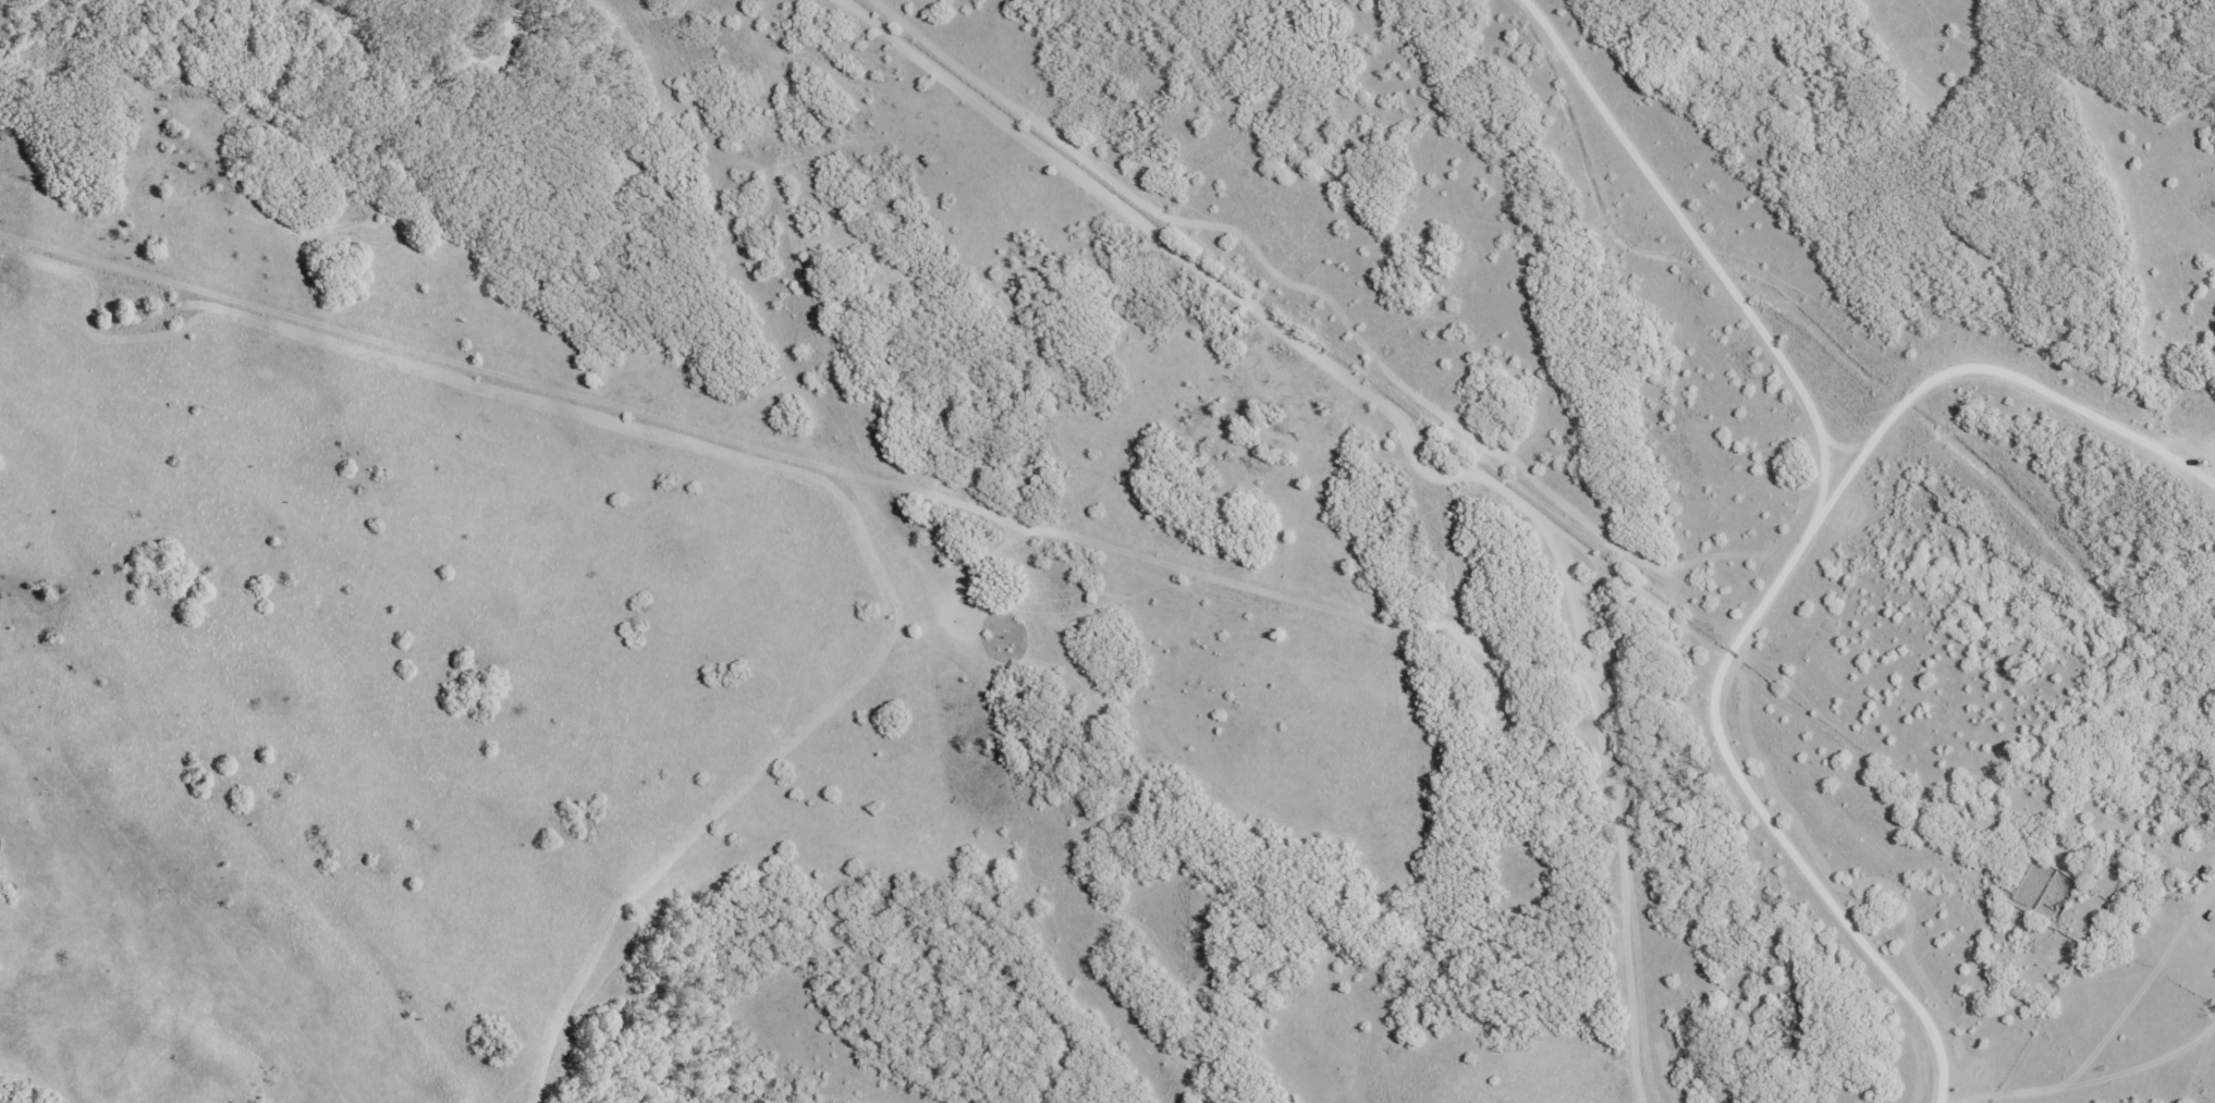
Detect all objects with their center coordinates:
road: (1780, 561)
road: (2202, 1078)
road: (2080, 1098)
road: (2071, 1101)

